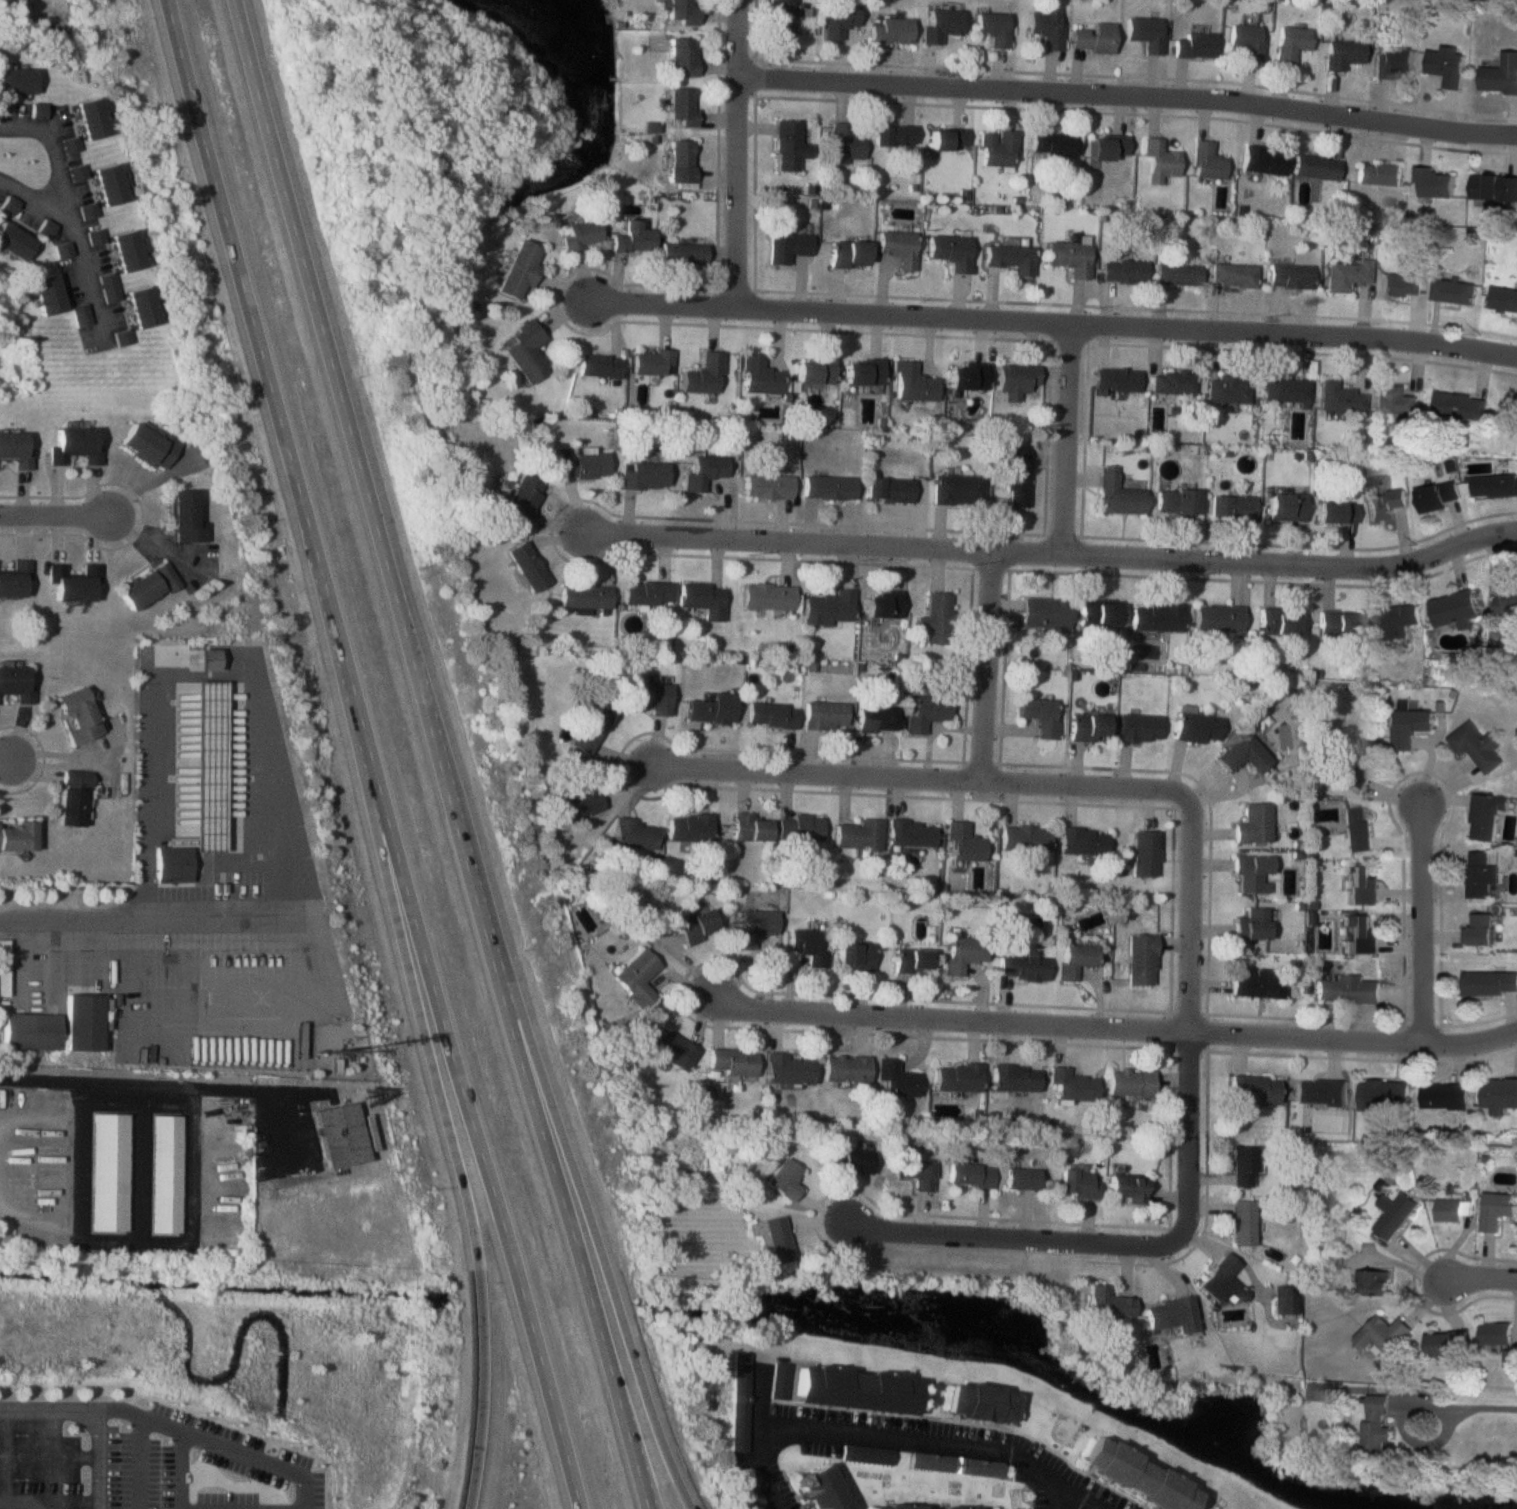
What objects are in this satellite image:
building: (682, 12)
building: (782, 18)
building: (840, 20)
building: (942, 24)
building: (1046, 27)
building: (993, 28)
building: (891, 31)
building: (1145, 33)
building: (1093, 38)
building: (1246, 41)
building: (1290, 43)
building: (1194, 44)
building: (1342, 54)
building: (681, 57)
building: (1392, 61)
building: (1447, 64)
building: (1500, 75)
building: (16, 81)
road: (1131, 92)
building: (682, 106)
building: (38, 111)
building: (91, 118)
building: (895, 135)
building: (948, 139)
building: (846, 144)
building: (1054, 144)
building: (789, 145)
building: (69, 146)
building: (1108, 147)
building: (998, 148)
road: (742, 154)
building: (1263, 159)
building: (682, 161)
building: (1207, 161)
building: (1159, 162)
building: (1315, 167)
building: (1378, 174)
building: (1434, 182)
building: (109, 185)
building: (1494, 187)
road: (36, 197)
building: (9, 205)
road: (70, 211)
building: (88, 212)
building: (46, 229)
building: (581, 234)
building: (95, 238)
building: (633, 238)
building: (14, 242)
building: (786, 244)
building: (898, 247)
building: (950, 251)
building: (128, 252)
building: (683, 254)
building: (847, 254)
building: (64, 255)
building: (1009, 257)
building: (1068, 257)
building: (519, 270)
building: (1122, 271)
building: (1177, 273)
building: (1232, 274)
building: (1287, 275)
building: (1344, 275)
building: (1401, 284)
building: (110, 288)
building: (1454, 290)
building: (46, 295)
building: (1503, 298)
building: (143, 308)
building: (82, 316)
road: (1055, 323)
building: (123, 338)
building: (525, 352)
building: (652, 363)
building: (599, 365)
building: (815, 370)
building: (862, 372)
building: (704, 374)
building: (758, 375)
building: (967, 377)
building: (1016, 379)
building: (1116, 379)
building: (912, 382)
building: (1171, 382)
building: (1227, 389)
building: (1285, 389)
building: (1338, 397)
building: (1392, 399)
building: (1461, 406)
road: (1071, 440)
building: (74, 445)
building: (147, 446)
building: (15, 450)
building: (583, 465)
building: (703, 471)
building: (1016, 475)
building: (644, 476)
building: (1493, 485)
building: (766, 486)
building: (827, 487)
building: (887, 490)
building: (1115, 493)
building: (1438, 496)
building: (520, 499)
building: (1173, 502)
building: (1384, 504)
building: (1230, 506)
building: (1284, 507)
building: (1334, 513)
road: (57, 514)
building: (186, 518)
road: (1050, 554)
building: (527, 565)
building: (16, 579)
building: (73, 582)
building: (148, 584)
building: (646, 593)
building: (767, 595)
building: (584, 596)
building: (702, 598)
building: (1509, 599)
building: (882, 604)
building: (827, 607)
building: (1455, 608)
building: (1097, 610)
building: (1043, 611)
building: (1155, 616)
building: (935, 618)
building: (1217, 618)
building: (1396, 618)
building: (1277, 621)
building: (1338, 623)
building: (1500, 657)
building: (207, 658)
road: (989, 666)
road: (204, 676)
building: (16, 684)
building: (648, 697)
building: (711, 708)
building: (926, 712)
building: (78, 714)
building: (770, 714)
building: (1040, 714)
building: (824, 715)
building: (876, 719)
building: (1087, 726)
building: (1195, 726)
building: (1409, 726)
building: (1138, 727)
building: (589, 728)
building: (1477, 745)
building: (1242, 754)
road: (372, 755)
road: (441, 755)
road: (8, 760)
road: (77, 761)
building: (1360, 764)
road: (916, 777)
building: (73, 798)
building: (574, 802)
building: (1486, 814)
building: (1252, 824)
building: (750, 826)
building: (800, 827)
building: (689, 828)
building: (1356, 828)
building: (912, 833)
building: (635, 834)
building: (859, 834)
building: (17, 836)
building: (1024, 837)
building: (1082, 840)
building: (963, 842)
building: (1144, 853)
building: (174, 864)
building: (1251, 873)
building: (1481, 875)
building: (1363, 885)
road: (102, 916)
road: (1424, 922)
building: (1251, 924)
building: (755, 925)
building: (697, 926)
building: (1480, 928)
building: (1361, 932)
building: (809, 945)
building: (965, 953)
building: (855, 955)
building: (1141, 958)
building: (1076, 959)
building: (913, 960)
building: (1025, 967)
building: (3, 968)
building: (637, 977)
building: (1489, 982)
building: (1256, 985)
building: (1346, 989)
road: (264, 1003)
road: (1195, 1014)
building: (83, 1022)
road: (1115, 1026)
building: (30, 1031)
building: (673, 1048)
building: (733, 1062)
building: (846, 1068)
building: (790, 1069)
building: (959, 1077)
building: (1016, 1077)
building: (898, 1078)
building: (1132, 1082)
road: (117, 1084)
building: (1074, 1084)
building: (1255, 1088)
building: (1319, 1091)
building: (1499, 1092)
building: (1381, 1094)
building: (1443, 1095)
road: (450, 1127)
building: (339, 1136)
building: (853, 1160)
building: (1245, 1166)
building: (108, 1172)
building: (920, 1172)
building: (971, 1173)
building: (165, 1174)
building: (1020, 1178)
building: (784, 1179)
building: (1080, 1182)
building: (1128, 1187)
building: (1449, 1208)
building: (1494, 1209)
building: (1391, 1213)
road: (589, 1216)
building: (1243, 1221)
road: (1014, 1237)
building: (775, 1239)
road: (1243, 1261)
building: (1221, 1277)
building: (1374, 1282)
road: (1479, 1282)
building: (1286, 1300)
building: (1107, 1302)
building: (1170, 1313)
building: (1494, 1332)
building: (1382, 1333)
building: (1443, 1343)
building: (1510, 1357)
building: (778, 1379)
building: (852, 1387)
building: (738, 1400)
building: (976, 1400)
road: (1468, 1407)
road: (101, 1411)
building: (1376, 1424)
road: (881, 1434)
building: (865, 1453)
building: (955, 1463)
building: (1135, 1475)
building: (823, 1486)
building: (752, 1494)
road: (1081, 1496)
building: (924, 1504)

